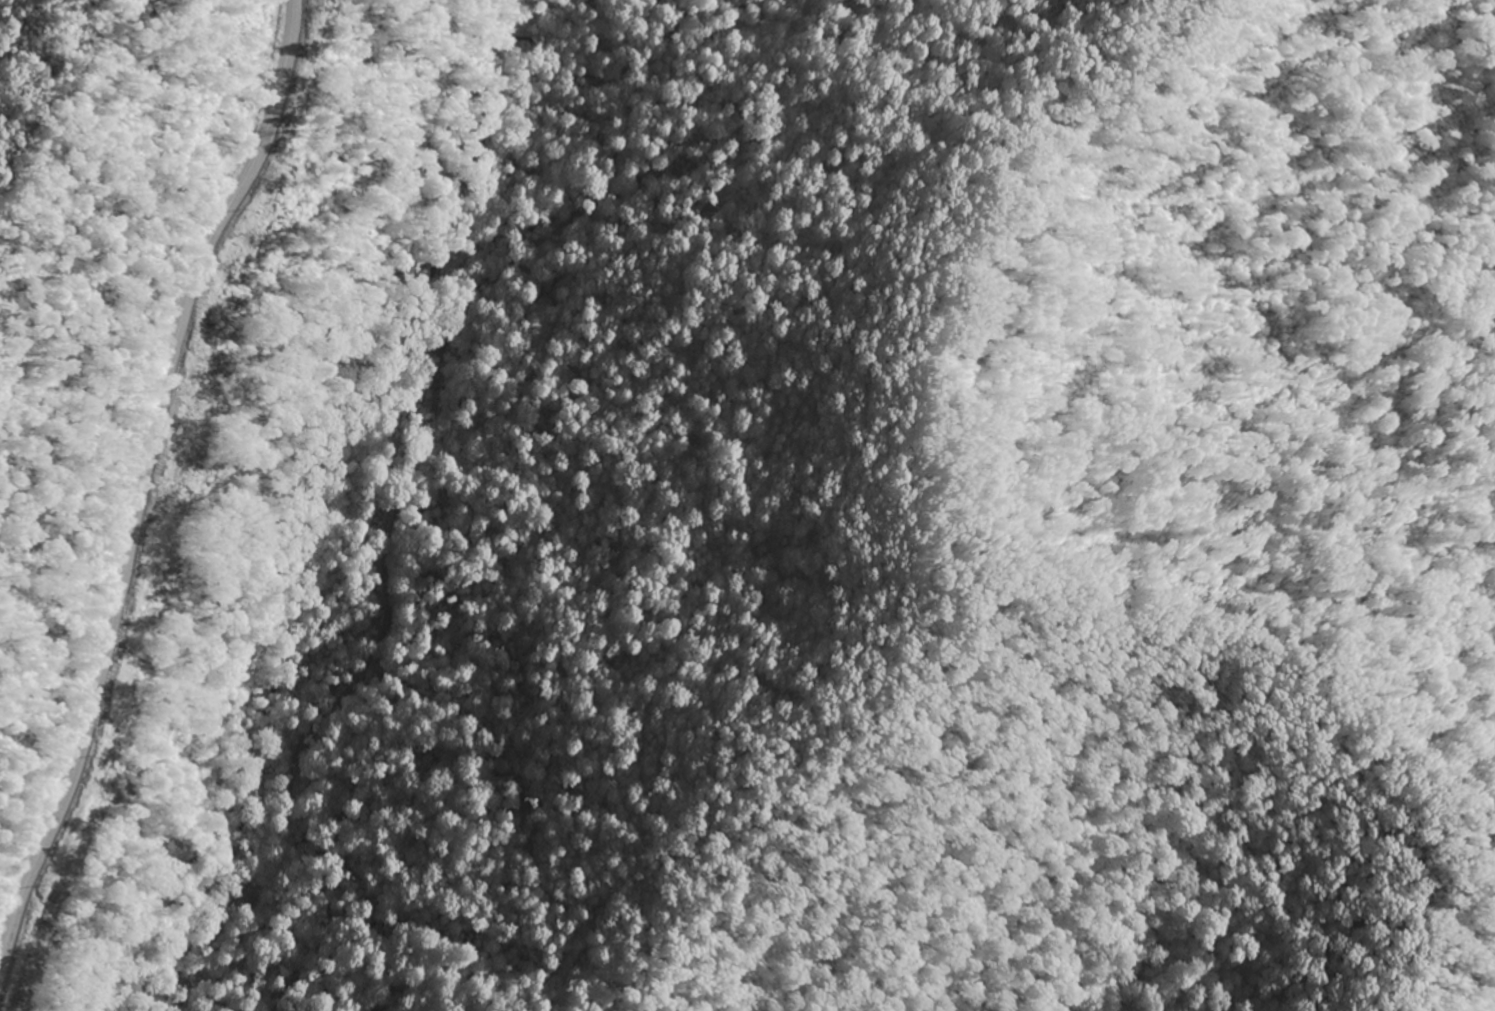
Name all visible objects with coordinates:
road: (141, 491)

